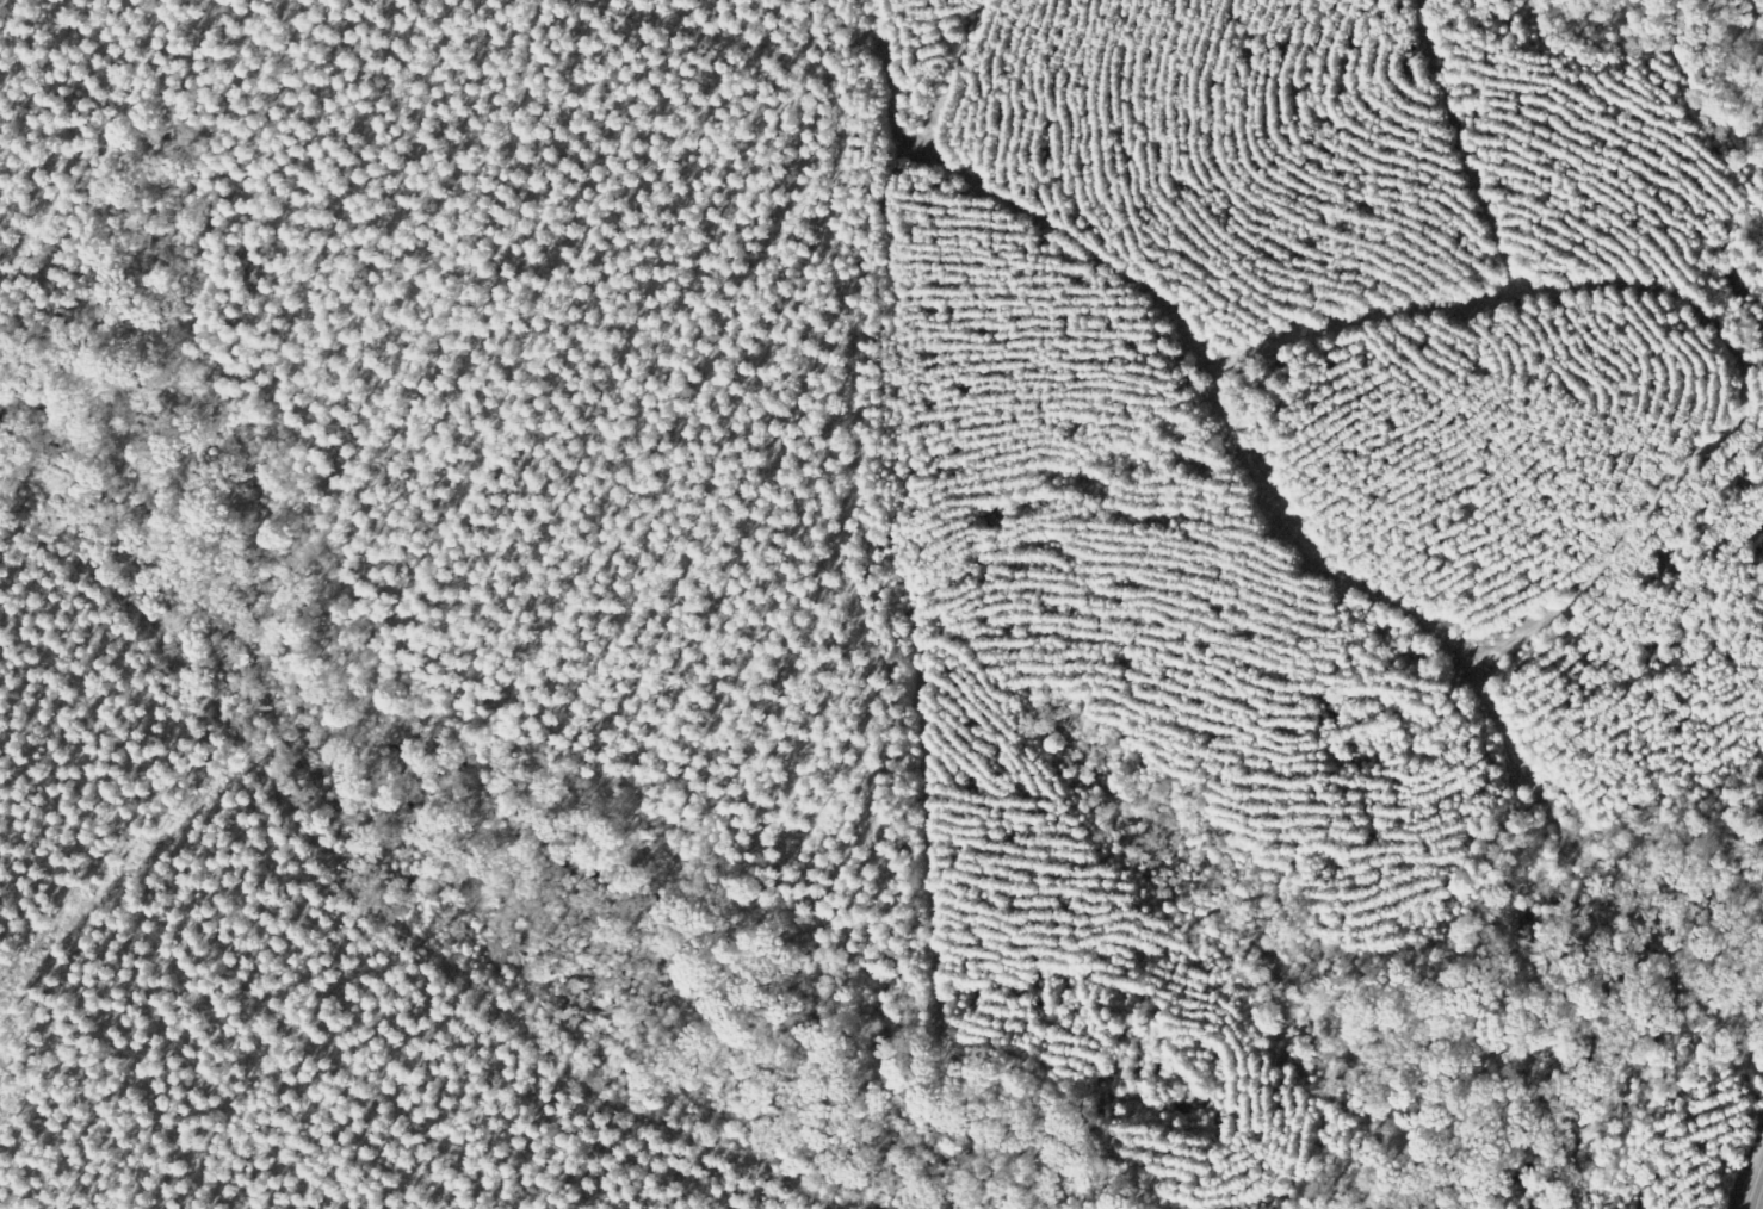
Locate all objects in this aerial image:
road: (1762, 1207)

